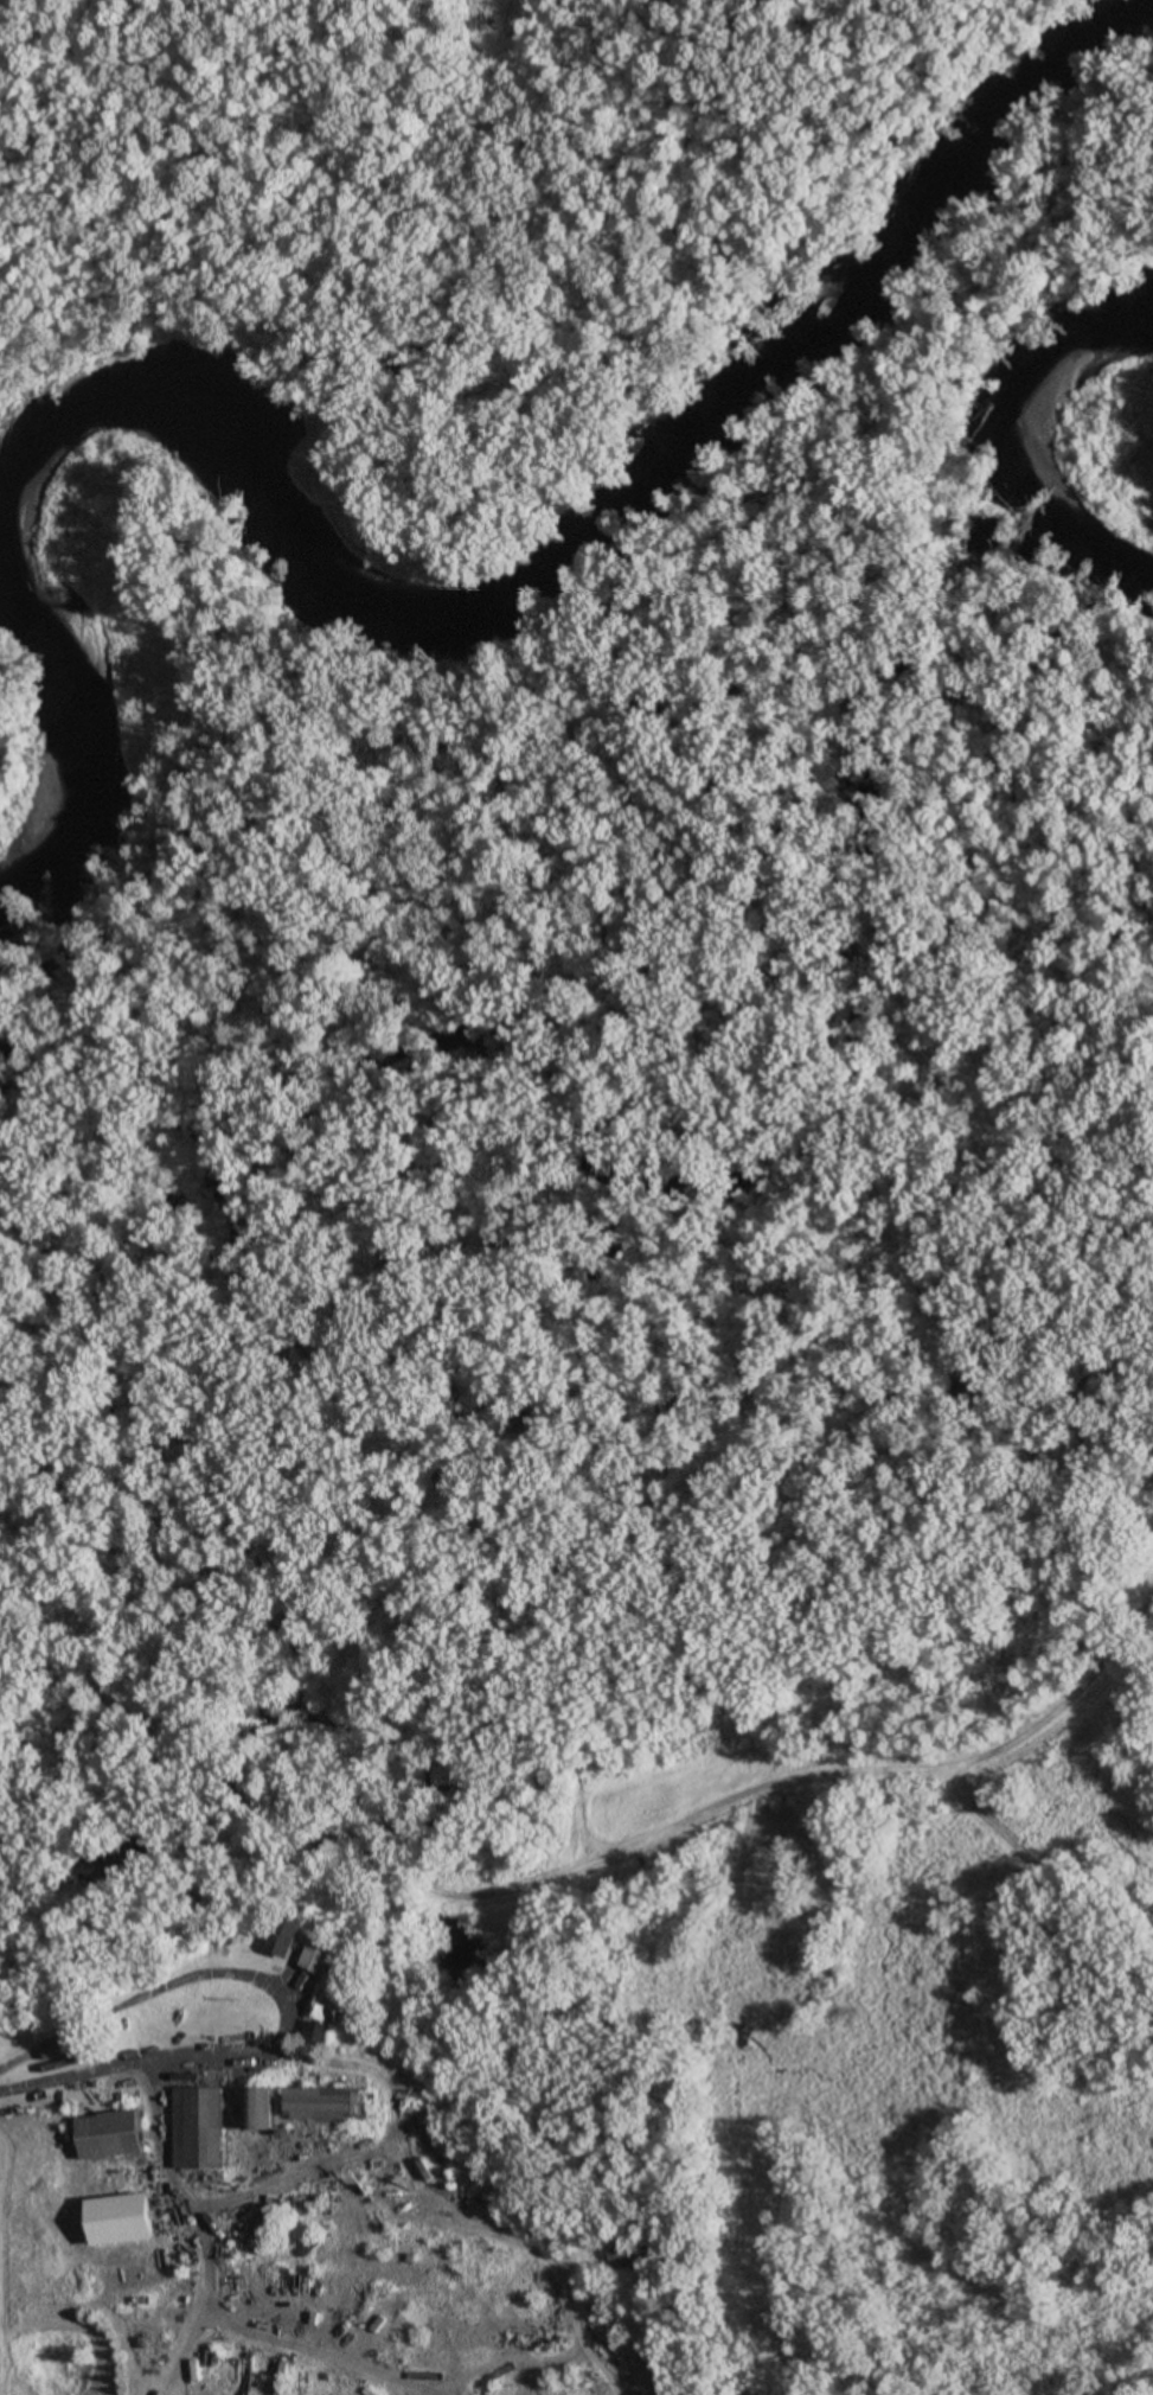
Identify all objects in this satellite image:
river: (493, 561)
building: (288, 1934)
building: (322, 1955)
road: (232, 1973)
building: (331, 2010)
building: (327, 2103)
building: (199, 2127)
building: (111, 2134)
road: (373, 2146)
road: (167, 2167)
building: (123, 2220)
building: (640, 2252)
road: (318, 2354)

